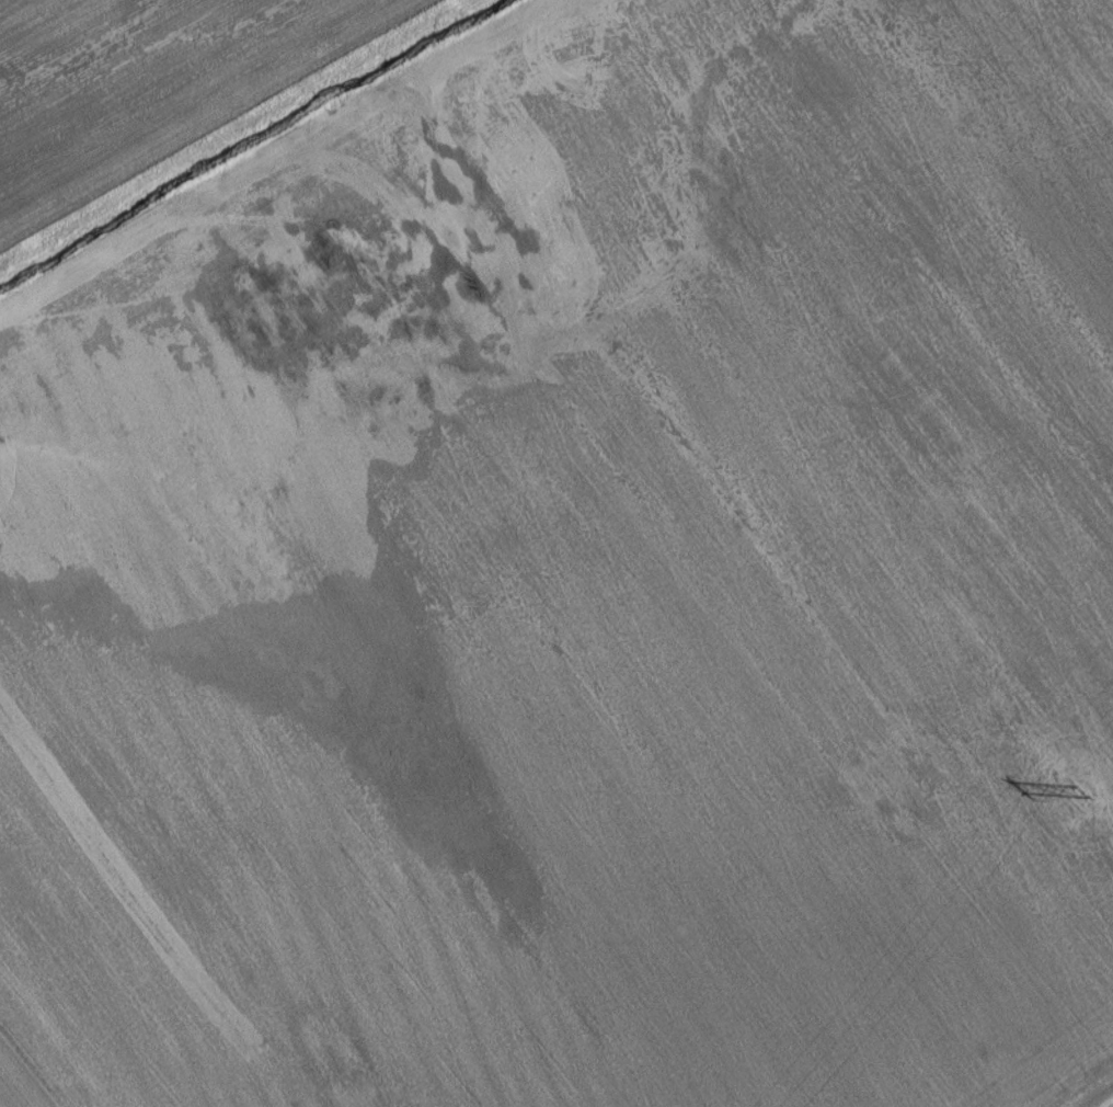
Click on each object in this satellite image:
power tower: (1076, 800)

